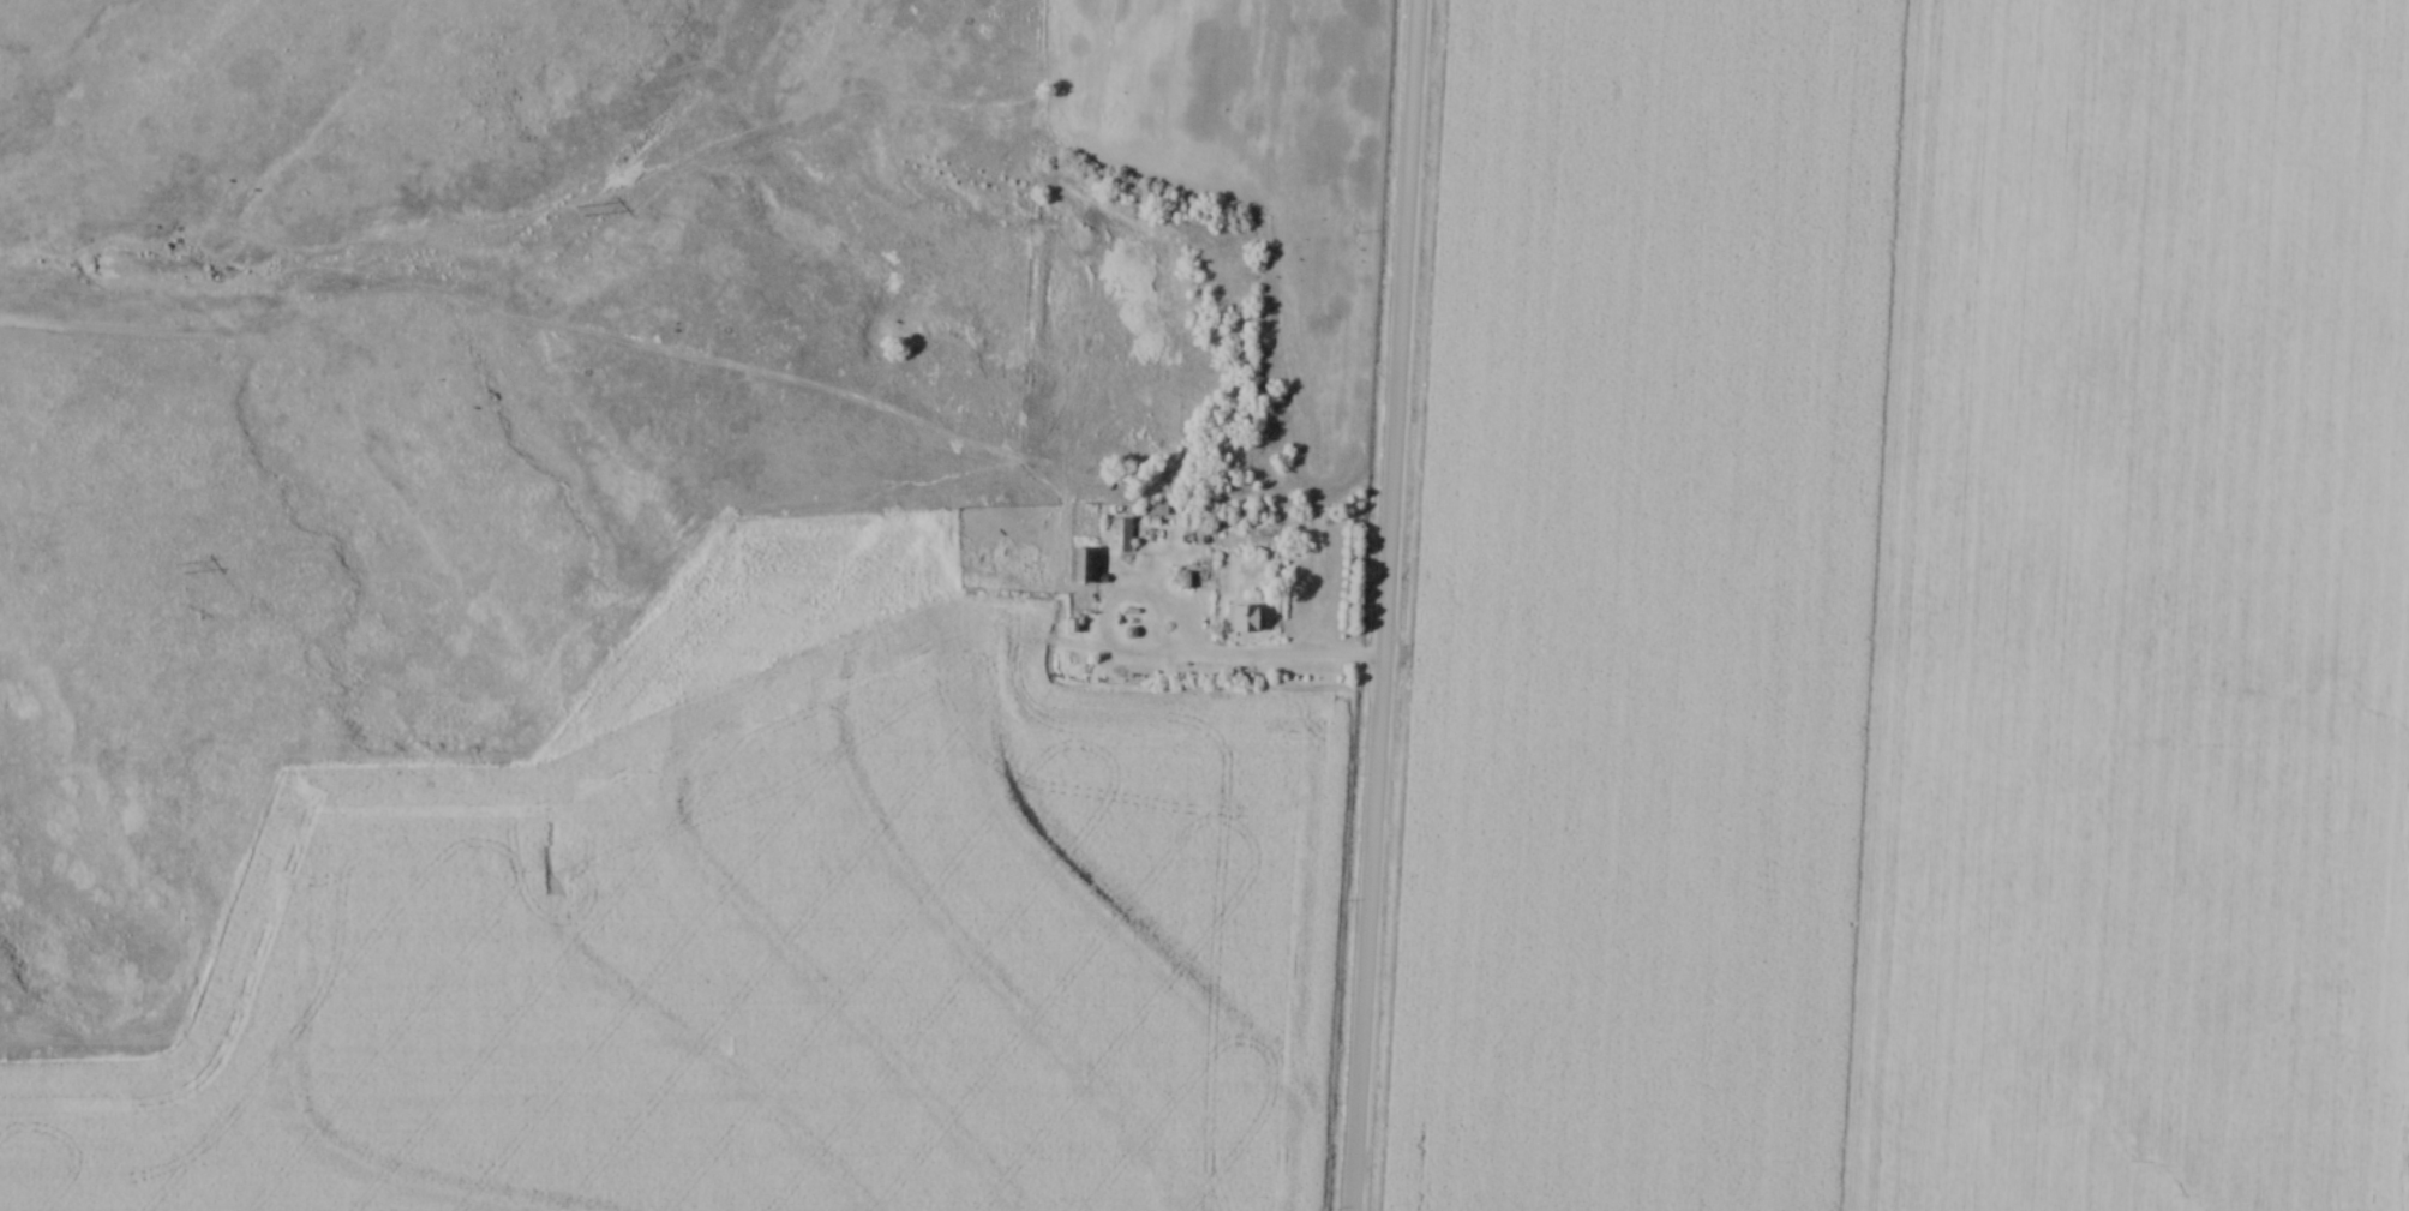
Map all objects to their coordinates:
power tower: (577, 212)
building: (1122, 536)
building: (1084, 566)
power tower: (179, 572)
road: (1380, 605)
building: (1247, 619)
road: (1268, 658)

